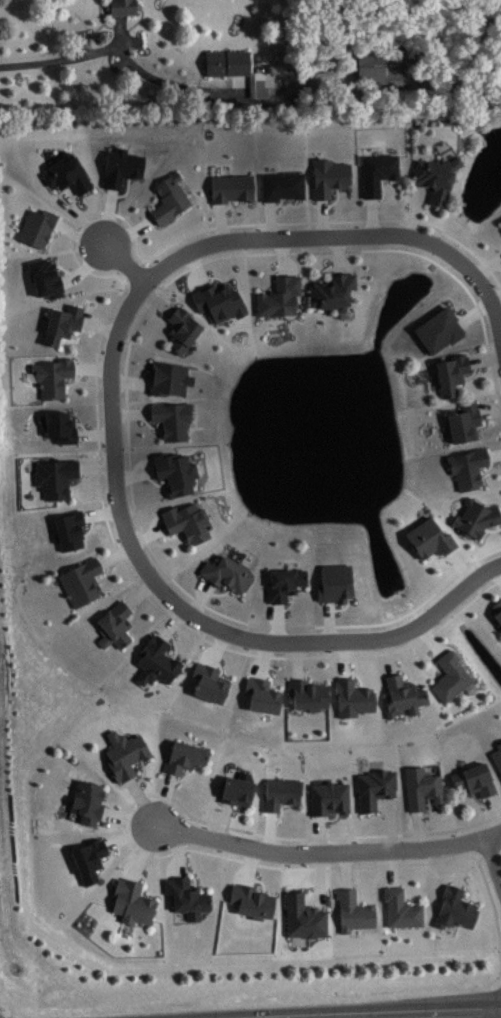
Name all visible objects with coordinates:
building: (121, 6)
road: (74, 55)
building: (378, 61)
building: (236, 68)
road: (169, 82)
building: (124, 169)
building: (377, 171)
building: (66, 173)
building: (328, 176)
building: (435, 176)
building: (285, 188)
road: (64, 189)
building: (235, 190)
road: (420, 190)
road: (383, 194)
building: (168, 198)
road: (333, 200)
road: (145, 205)
road: (415, 210)
road: (80, 214)
road: (372, 215)
road: (321, 217)
road: (375, 219)
road: (78, 224)
building: (36, 226)
road: (56, 230)
road: (128, 231)
road: (77, 234)
road: (290, 237)
road: (154, 254)
road: (338, 254)
road: (225, 255)
road: (282, 256)
road: (125, 260)
road: (196, 267)
road: (326, 270)
road: (270, 275)
road: (213, 276)
building: (49, 281)
road: (482, 285)
building: (331, 291)
building: (278, 296)
road: (155, 299)
building: (217, 301)
road: (163, 317)
building: (61, 323)
road: (98, 325)
building: (181, 328)
road: (81, 332)
building: (442, 332)
road: (98, 344)
road: (484, 358)
road: (91, 367)
road: (473, 372)
building: (451, 373)
building: (52, 375)
road: (494, 377)
road: (76, 378)
building: (173, 381)
building: (175, 422)
building: (467, 425)
building: (64, 429)
road: (493, 453)
road: (489, 464)
road: (95, 466)
building: (467, 466)
building: (174, 471)
road: (134, 473)
road: (99, 474)
building: (54, 476)
road: (80, 479)
road: (153, 480)
road: (500, 512)
building: (475, 517)
building: (186, 521)
road: (492, 529)
building: (73, 533)
road: (147, 534)
road: (168, 537)
building: (429, 537)
road: (114, 554)
road: (441, 558)
road: (460, 565)
road: (466, 566)
road: (106, 571)
road: (498, 571)
building: (226, 573)
building: (81, 581)
road: (177, 582)
building: (283, 583)
building: (338, 586)
road: (140, 592)
road: (217, 593)
road: (200, 597)
road: (179, 605)
road: (288, 605)
building: (497, 609)
road: (134, 610)
road: (165, 612)
road: (278, 621)
road: (172, 623)
building: (114, 624)
road: (430, 638)
road: (175, 643)
road: (218, 647)
road: (403, 647)
road: (388, 655)
road: (344, 658)
road: (297, 660)
building: (156, 661)
road: (433, 662)
road: (220, 665)
road: (403, 669)
road: (308, 673)
road: (356, 675)
building: (451, 675)
building: (208, 681)
building: (307, 694)
building: (401, 696)
building: (353, 697)
building: (265, 698)
building: (124, 753)
building: (183, 756)
building: (497, 756)
road: (142, 773)
road: (180, 777)
building: (474, 779)
building: (374, 787)
building: (421, 787)
building: (236, 790)
building: (280, 792)
building: (327, 797)
road: (164, 799)
building: (86, 800)
road: (379, 800)
road: (479, 800)
road: (142, 801)
road: (108, 803)
road: (232, 808)
road: (428, 810)
road: (495, 810)
road: (280, 813)
road: (128, 817)
road: (330, 818)
road: (208, 820)
road: (222, 820)
road: (391, 820)
road: (418, 828)
road: (270, 830)
road: (129, 833)
road: (319, 833)
road: (487, 849)
road: (328, 851)
road: (143, 852)
road: (180, 852)
road: (110, 854)
building: (88, 858)
road: (492, 860)
road: (403, 863)
road: (461, 864)
road: (250, 865)
road: (393, 867)
road: (345, 869)
road: (191, 873)
road: (259, 879)
road: (146, 881)
road: (403, 885)
road: (468, 887)
road: (356, 888)
building: (186, 896)
building: (251, 900)
building: (131, 901)
building: (400, 908)
building: (454, 908)
building: (352, 910)
building: (307, 920)
road: (498, 934)
road: (375, 1013)

